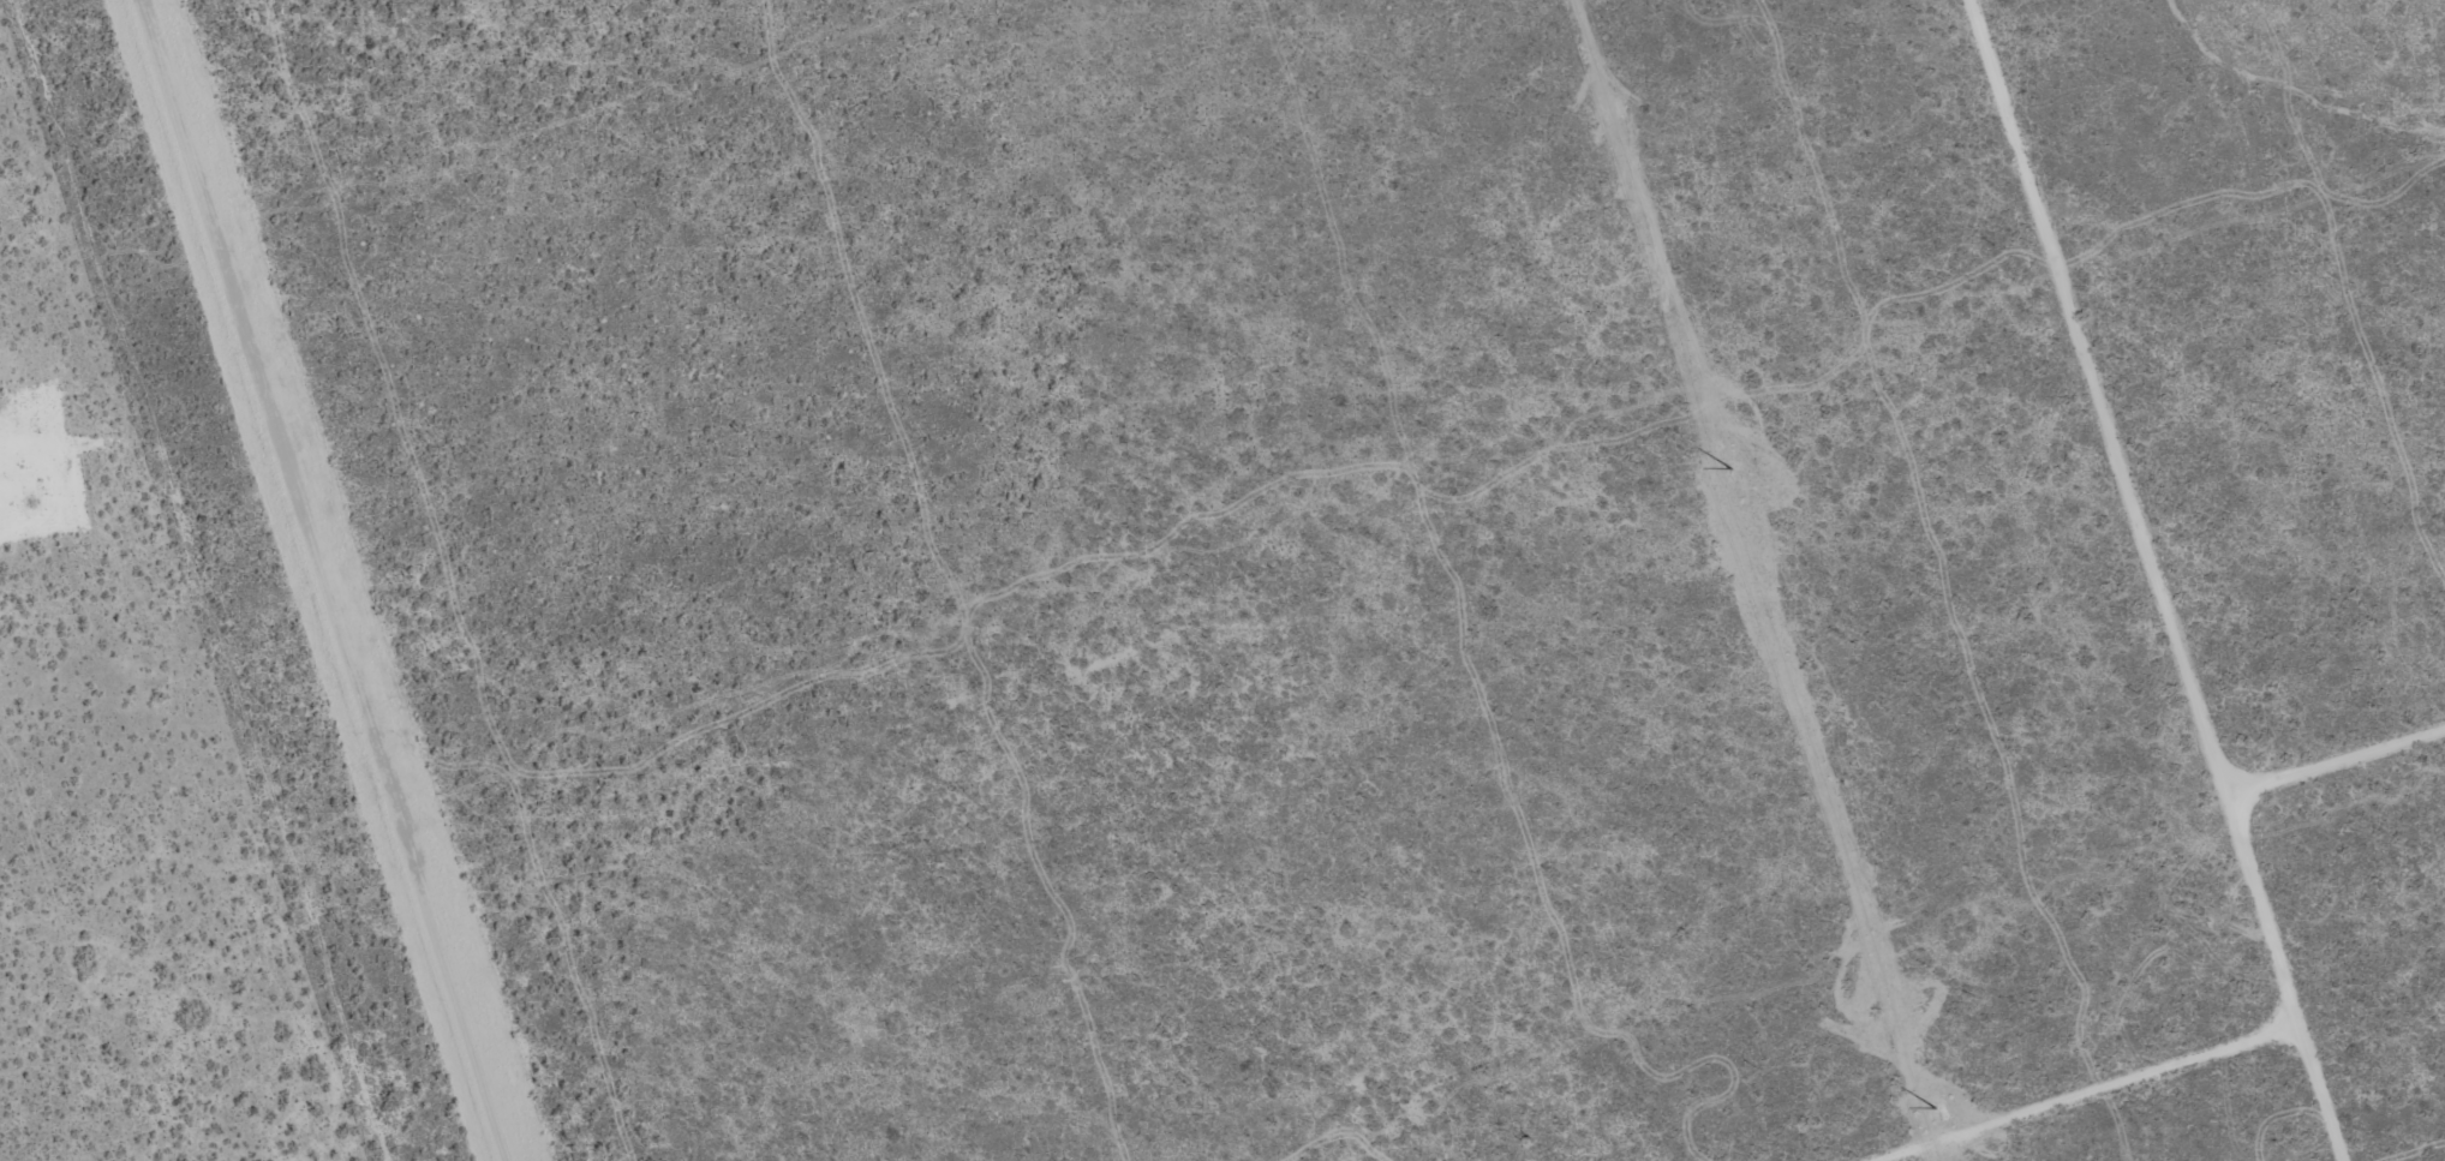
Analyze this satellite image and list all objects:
road: (2165, 579)
road: (2343, 773)
road: (2105, 1093)

